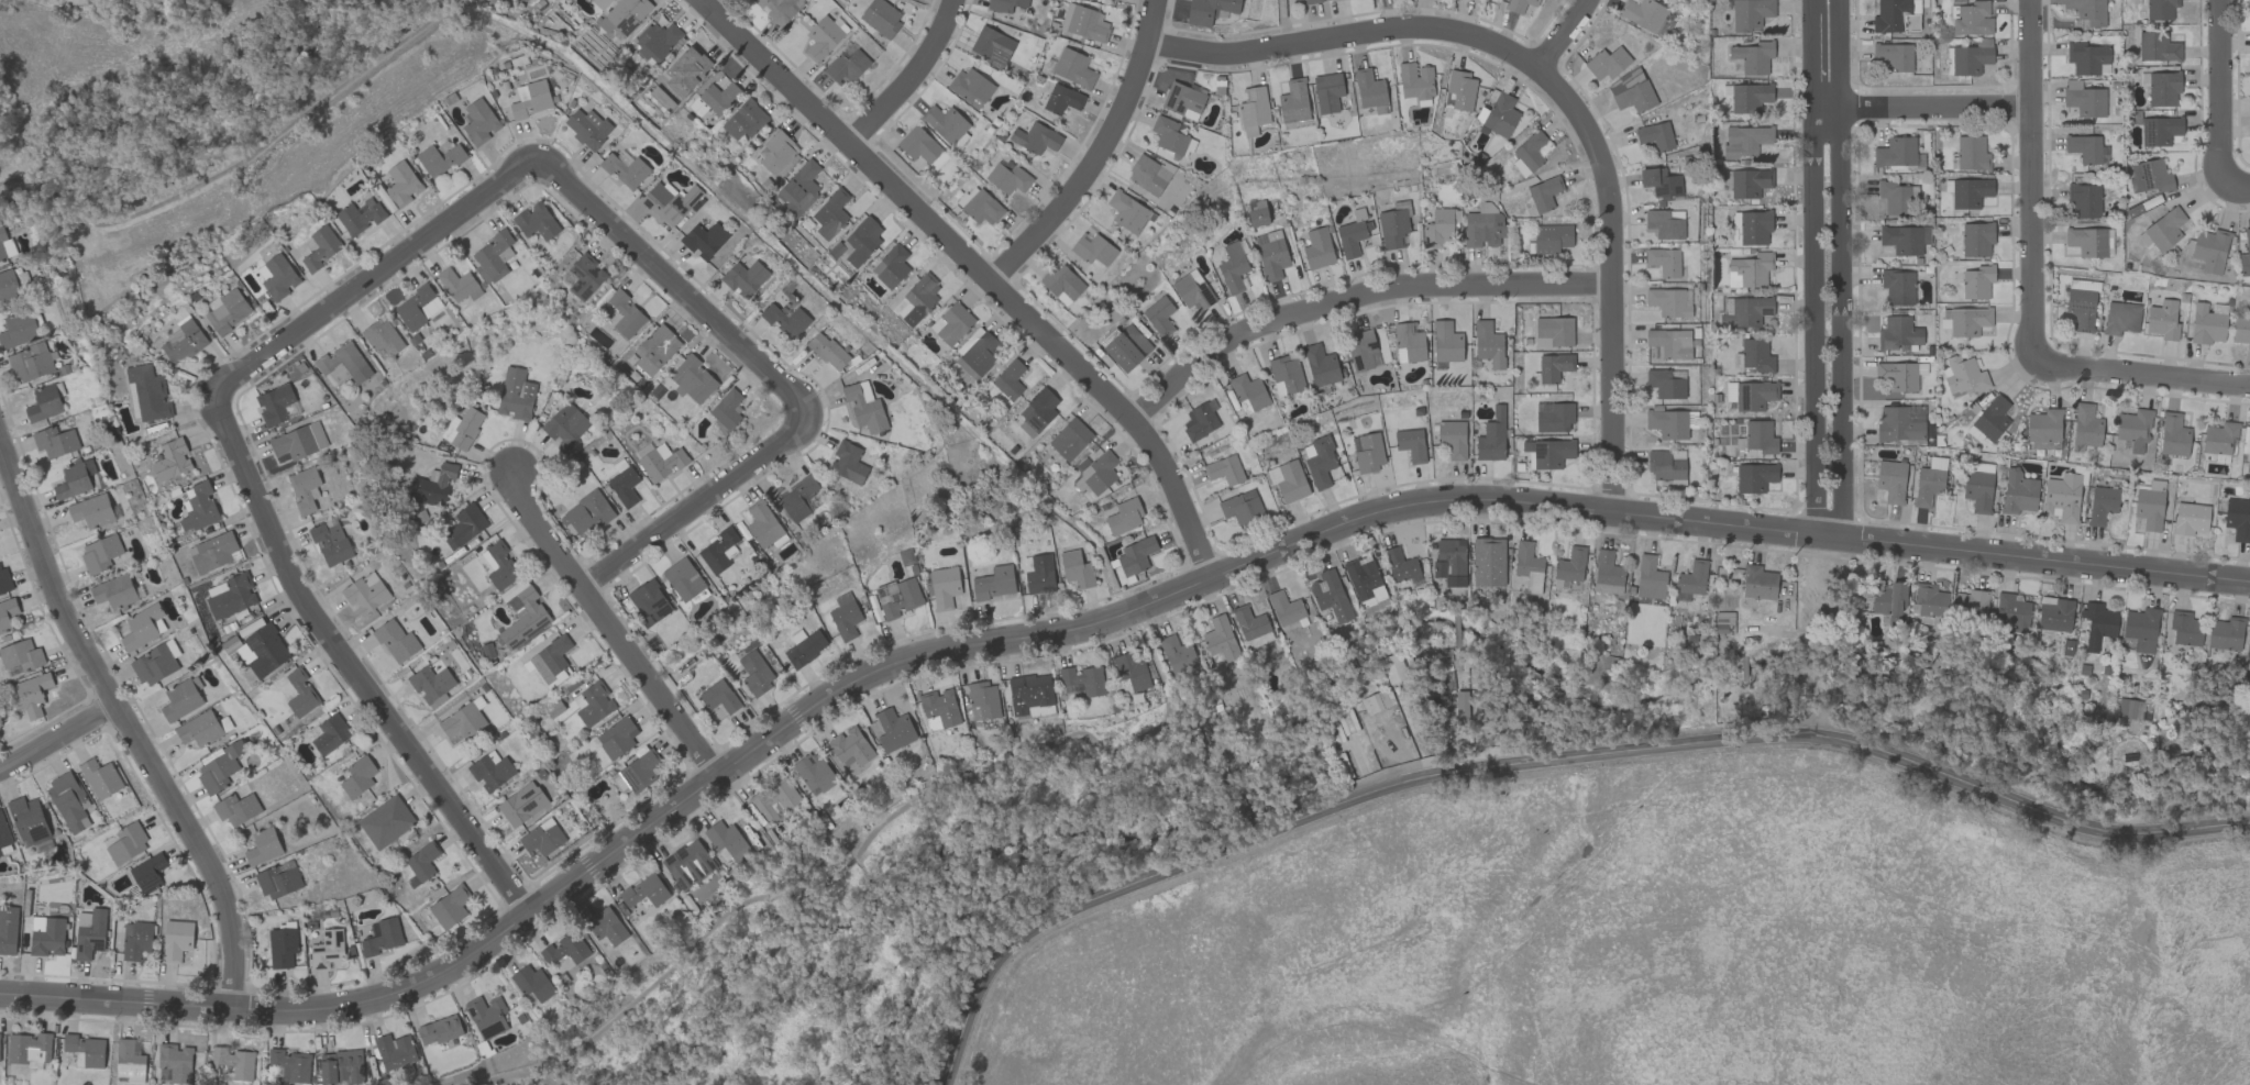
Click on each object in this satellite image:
building: (1334, 0)
building: (1311, 1)
building: (600, 3)
road: (708, 3)
building: (1004, 4)
building: (1519, 4)
building: (779, 9)
building: (2160, 9)
building: (1209, 10)
building: (2087, 11)
building: (1643, 13)
building: (627, 14)
building: (1750, 14)
building: (1889, 14)
building: (881, 16)
building: (1971, 19)
building: (1083, 22)
building: (1909, 22)
building: (824, 36)
road: (1345, 38)
building: (655, 41)
building: (992, 45)
building: (2157, 47)
building: (1894, 55)
building: (1753, 57)
building: (1971, 57)
building: (2085, 57)
building: (1607, 63)
building: (847, 66)
building: (1073, 68)
building: (683, 73)
road: (908, 78)
building: (970, 87)
building: (2161, 88)
building: (1369, 89)
building: (1460, 89)
building: (1327, 91)
building: (1631, 91)
building: (717, 92)
road: (2224, 92)
building: (1746, 97)
building: (530, 99)
building: (1062, 99)
building: (1183, 99)
building: (2083, 99)
building: (1293, 103)
road: (1921, 107)
building: (1253, 110)
building: (1498, 114)
park: (199, 117)
building: (743, 120)
building: (478, 121)
building: (945, 123)
building: (587, 128)
building: (2159, 130)
building: (1168, 135)
building: (1655, 135)
building: (1035, 137)
building: (1744, 141)
building: (922, 147)
building: (2084, 147)
building: (776, 152)
road: (1095, 152)
building: (1897, 153)
building: (1971, 153)
building: (1529, 154)
building: (439, 158)
road: (239, 160)
building: (625, 169)
building: (1148, 175)
road: (2031, 175)
building: (2149, 176)
building: (1007, 178)
building: (1661, 182)
building: (1745, 182)
building: (401, 184)
road: (2238, 185)
building: (799, 188)
building: (1970, 192)
building: (1543, 193)
building: (1895, 197)
building: (2084, 200)
building: (669, 201)
building: (982, 208)
building: (1127, 211)
building: (1257, 212)
building: (829, 213)
building: (359, 217)
building: (536, 221)
building: (1664, 223)
building: (1392, 226)
building: (1754, 226)
building: (1484, 229)
building: (2163, 230)
building: (1352, 234)
road: (1609, 236)
building: (1551, 237)
building: (1905, 239)
building: (704, 240)
building: (1976, 240)
building: (859, 241)
building: (2086, 241)
building: (5, 244)
building: (320, 247)
building: (1317, 247)
building: (1093, 250)
building: (2209, 250)
building: (1271, 254)
building: (2245, 255)
building: (493, 256)
building: (1664, 261)
road: (394, 265)
building: (891, 266)
building: (1232, 267)
road: (980, 268)
road: (1813, 270)
building: (1747, 272)
road: (1843, 272)
building: (583, 276)
building: (278, 277)
building: (743, 277)
building: (23, 280)
building: (1062, 281)
building: (1976, 281)
building: (457, 285)
building: (8, 286)
building: (1897, 286)
building: (1192, 290)
building: (917, 299)
road: (1354, 301)
building: (1667, 302)
building: (2081, 303)
building: (417, 307)
building: (227, 310)
building: (1744, 310)
building: (625, 314)
building: (1159, 315)
building: (2120, 318)
building: (785, 319)
building: (1964, 320)
building: (2162, 320)
building: (951, 323)
building: (2206, 324)
building: (19, 330)
building: (2241, 330)
building: (1553, 331)
building: (1898, 333)
building: (382, 336)
building: (181, 342)
building: (1445, 342)
building: (1409, 343)
building: (1488, 344)
building: (1667, 344)
building: (1126, 347)
building: (655, 350)
building: (1363, 350)
building: (827, 351)
building: (978, 352)
building: (1756, 355)
building: (31, 362)
building: (344, 362)
building: (1321, 365)
building: (1552, 367)
road: (2140, 372)
building: (1286, 374)
building: (1898, 375)
building: (1963, 376)
building: (693, 379)
building: (1008, 379)
building: (1666, 383)
building: (1249, 391)
building: (148, 392)
building: (515, 394)
building: (1751, 395)
building: (44, 403)
building: (274, 403)
building: (864, 407)
building: (727, 409)
building: (1038, 409)
building: (1555, 418)
building: (1200, 420)
building: (1989, 420)
building: (1667, 423)
building: (1900, 423)
building: (565, 424)
building: (2085, 425)
building: (465, 428)
building: (2133, 428)
building: (2044, 429)
building: (2173, 434)
building: (1491, 436)
building: (1760, 436)
building: (1453, 438)
building: (2219, 438)
building: (1070, 439)
building: (55, 441)
building: (298, 441)
building: (1411, 443)
building: (2248, 451)
building: (1367, 452)
building: (1548, 453)
building: (172, 458)
building: (661, 461)
building: (847, 462)
building: (1321, 462)
building: (1666, 466)
building: (1981, 466)
building: (1224, 469)
building: (1096, 472)
building: (1754, 477)
building: (74, 478)
building: (1288, 480)
building: (1890, 480)
building: (1929, 481)
building: (437, 484)
building: (624, 486)
building: (305, 489)
building: (1977, 490)
building: (2018, 492)
building: (2061, 497)
building: (797, 498)
building: (2102, 503)
building: (198, 507)
building: (1240, 507)
building: (2149, 509)
building: (91, 510)
building: (585, 513)
building: (1124, 517)
building: (2191, 519)
building: (2238, 519)
road: (1723, 523)
building: (762, 524)
building: (464, 525)
building: (330, 543)
building: (719, 550)
building: (213, 552)
building: (99, 553)
building: (1135, 556)
building: (1449, 561)
building: (1488, 562)
building: (498, 565)
building: (1400, 565)
building: (1527, 565)
building: (1569, 566)
building: (1076, 568)
building: (1038, 573)
building: (1607, 574)
building: (683, 578)
building: (1364, 578)
building: (1650, 578)
building: (3, 579)
building: (1691, 580)
building: (994, 583)
building: (1758, 583)
building: (944, 587)
building: (114, 591)
building: (365, 593)
building: (1330, 595)
building: (231, 596)
building: (897, 597)
building: (1927, 599)
building: (650, 601)
building: (1888, 601)
building: (1971, 602)
building: (1284, 608)
building: (2010, 611)
building: (7, 612)
building: (2054, 613)
building: (521, 615)
building: (845, 616)
building: (141, 627)
road: (607, 628)
building: (2184, 628)
building: (2141, 629)
building: (2225, 633)
building: (1220, 638)
building: (396, 641)
building: (804, 646)
building: (263, 650)
building: (21, 655)
building: (1179, 658)
building: (550, 662)
building: (155, 663)
building: (1392, 667)
building: (754, 673)
building: (1132, 673)
building: (1080, 682)
building: (431, 684)
building: (1028, 693)
building: (32, 694)
building: (718, 696)
building: (181, 698)
building: (983, 700)
building: (1375, 701)
building: (594, 704)
building: (939, 706)
building: (2127, 710)
building: (463, 721)
road: (128, 728)
building: (199, 729)
building: (893, 729)
building: (328, 733)
building: (616, 738)
road: (57, 739)
building: (850, 746)
road: (1546, 763)
building: (219, 767)
building: (490, 770)
building: (639, 771)
building: (813, 773)
building: (357, 776)
building: (100, 778)
building: (618, 783)
building: (774, 797)
building: (68, 801)
building: (518, 807)
building: (236, 808)
road: (885, 818)
building: (385, 821)
building: (30, 822)
building: (3, 833)
building: (542, 838)
building: (726, 842)
building: (126, 843)
building: (263, 846)
road: (619, 852)
building: (421, 861)
building: (687, 864)
building: (147, 872)
building: (278, 879)
building: (644, 890)
building: (449, 907)
park: (898, 919)
building: (606, 926)
building: (8, 929)
building: (90, 934)
building: (383, 937)
building: (47, 938)
building: (176, 939)
building: (135, 940)
building: (282, 946)
building: (564, 948)
building: (327, 949)
building: (532, 983)
building: (486, 1015)
building: (439, 1029)
building: (29, 1048)
building: (86, 1049)
building: (395, 1051)
building: (129, 1061)
building: (175, 1061)
building: (234, 1062)
building: (290, 1064)
building: (341, 1066)
road: (517, 1073)

